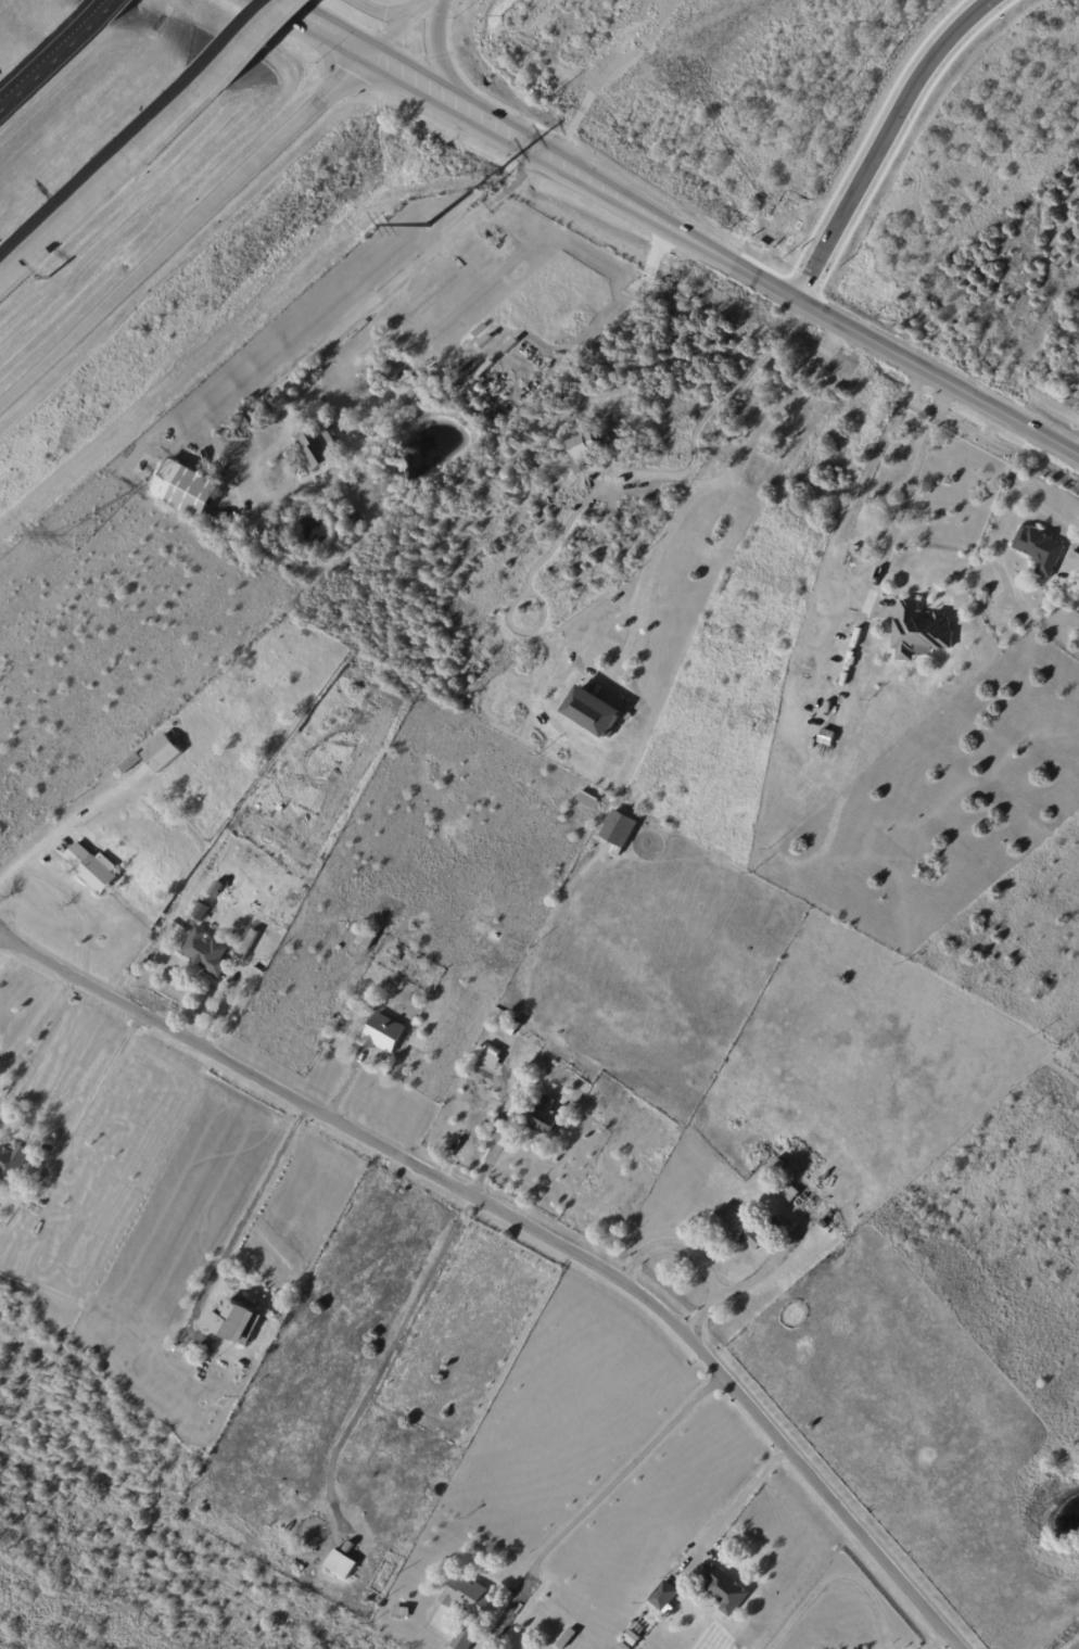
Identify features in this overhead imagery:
road: (107, 5)
road: (393, 9)
road: (267, 25)
road: (318, 27)
road: (398, 27)
road: (51, 60)
road: (440, 61)
road: (420, 85)
road: (191, 97)
road: (300, 128)
road: (506, 132)
road: (888, 143)
road: (71, 211)
power tower: (428, 229)
road: (809, 302)
road: (116, 309)
building: (744, 327)
road: (331, 339)
building: (268, 406)
road: (716, 413)
building: (495, 422)
building: (244, 426)
building: (526, 436)
building: (315, 446)
building: (581, 449)
building: (185, 489)
road: (714, 492)
building: (354, 520)
power tower: (77, 542)
building: (250, 543)
building: (1041, 550)
building: (921, 634)
road: (816, 655)
building: (592, 714)
building: (226, 715)
building: (824, 745)
building: (162, 753)
building: (131, 763)
building: (216, 766)
building: (116, 777)
building: (588, 799)
road: (66, 823)
building: (620, 828)
building: (92, 868)
building: (203, 910)
building: (366, 938)
building: (204, 951)
building: (396, 959)
road: (33, 1023)
building: (513, 1027)
building: (383, 1033)
building: (493, 1050)
building: (518, 1080)
road: (98, 1090)
building: (517, 1113)
building: (544, 1118)
building: (11, 1163)
building: (774, 1170)
building: (790, 1193)
road: (245, 1217)
building: (778, 1226)
building: (736, 1228)
road: (529, 1230)
building: (813, 1240)
road: (695, 1253)
building: (233, 1323)
road: (395, 1343)
road: (626, 1471)
road: (747, 1494)
building: (329, 1533)
building: (341, 1563)
building: (725, 1590)
building: (466, 1597)
building: (663, 1597)
building: (465, 1638)
building: (567, 1639)
road: (934, 1640)
road: (1078, 1648)

